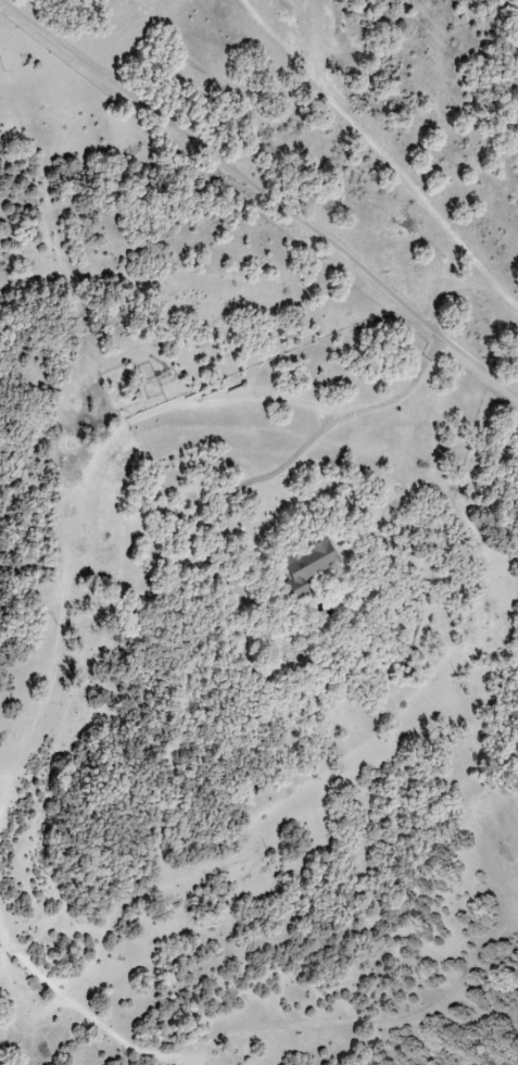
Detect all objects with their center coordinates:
road: (268, 196)
building: (306, 565)

